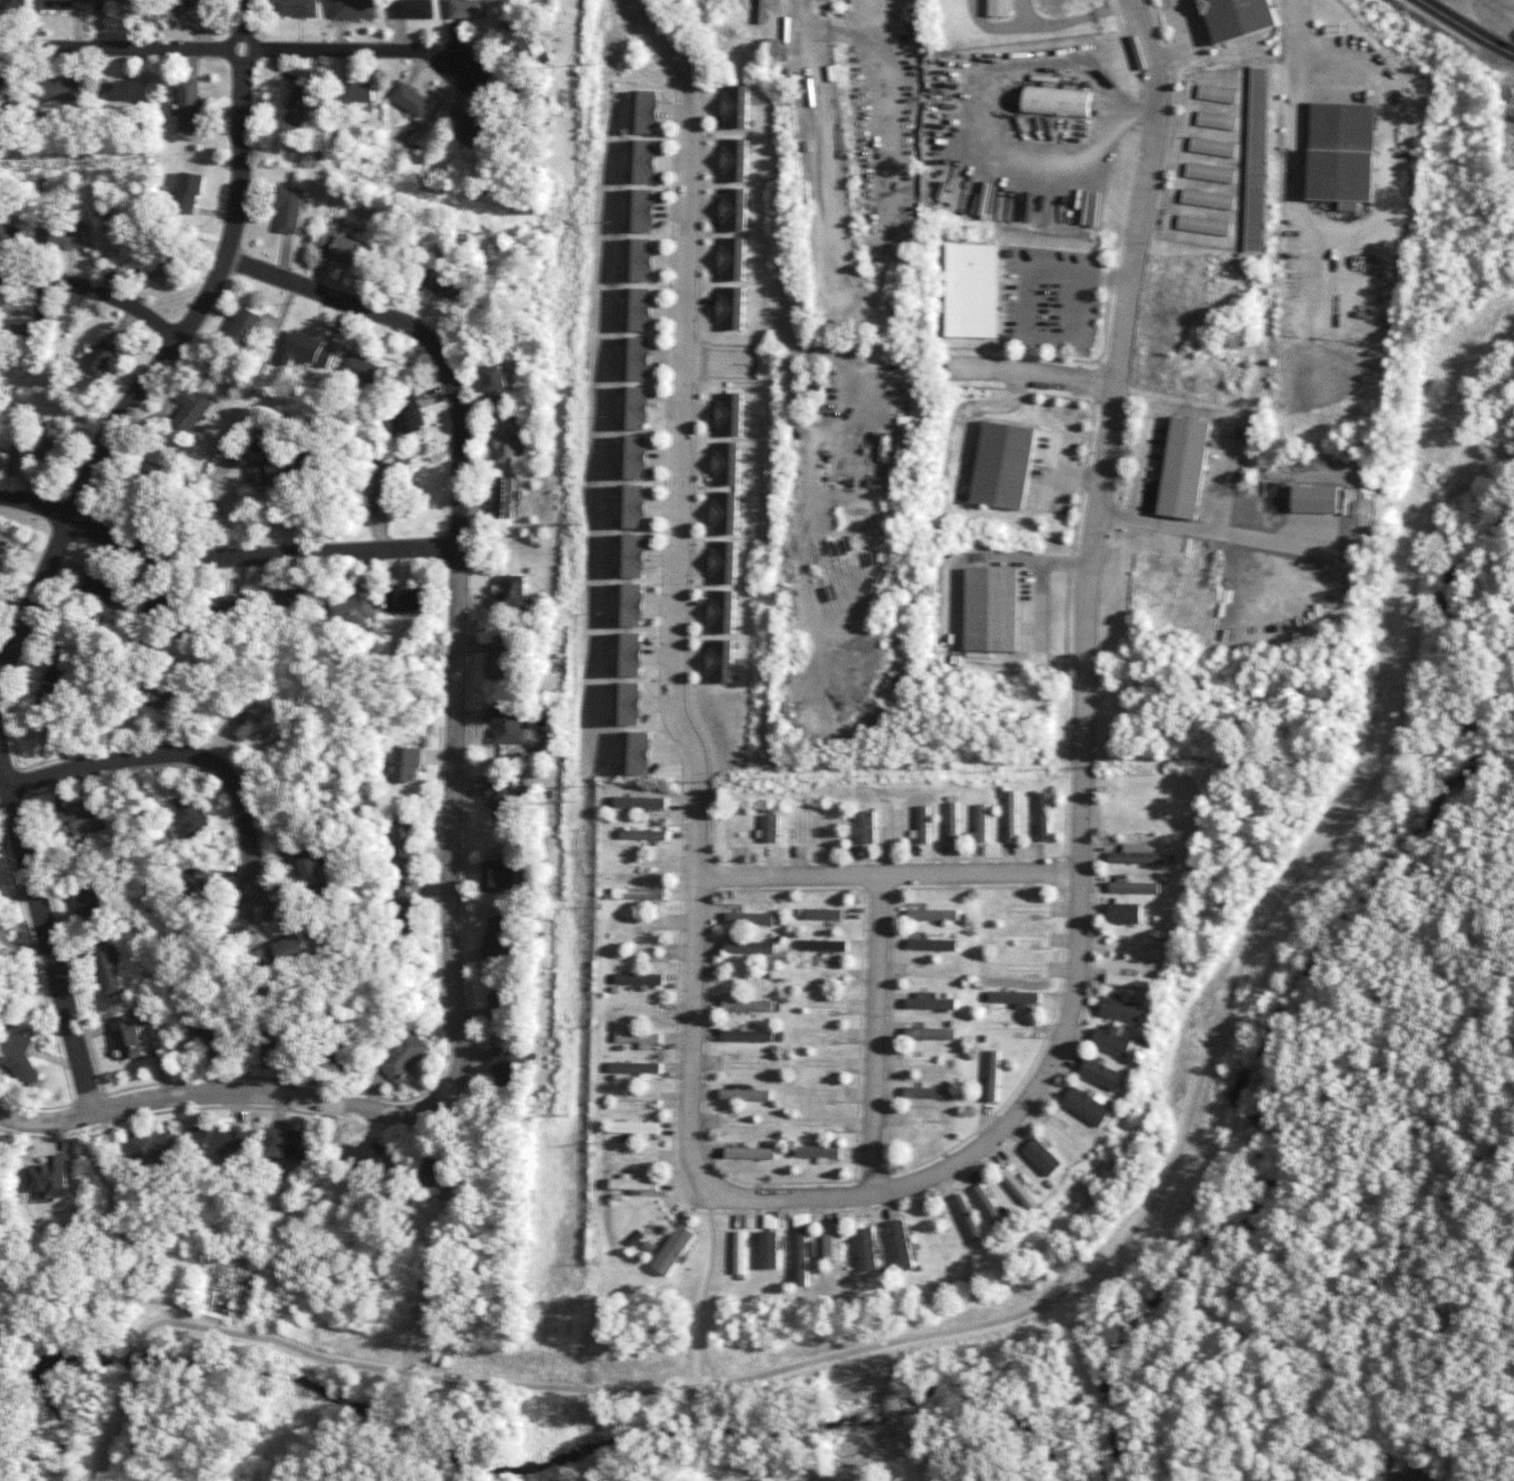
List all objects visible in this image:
building: (114, 0)
building: (11, 4)
building: (63, 4)
building: (182, 6)
building: (298, 8)
building: (996, 8)
building: (355, 9)
building: (415, 9)
building: (469, 9)
road: (1460, 10)
parking lot: (1181, 18)
building: (1243, 19)
road: (1467, 29)
road: (1296, 32)
building: (519, 43)
road: (1196, 43)
road: (231, 47)
building: (9, 89)
building: (62, 90)
building: (131, 90)
building: (358, 92)
building: (1216, 94)
building: (411, 100)
building: (1056, 102)
road: (892, 103)
building: (298, 105)
building: (190, 106)
building: (735, 107)
building: (644, 112)
building: (1215, 120)
building: (475, 130)
building: (1212, 147)
building: (1341, 153)
building: (1255, 159)
building: (734, 160)
building: (642, 161)
building: (1209, 173)
building: (188, 191)
building: (1207, 199)
building: (288, 209)
building: (732, 210)
building: (641, 211)
road: (1373, 222)
building: (1203, 225)
building: (3, 232)
building: (69, 237)
building: (340, 248)
building: (731, 259)
building: (639, 260)
building: (165, 266)
building: (445, 285)
road: (95, 287)
building: (970, 291)
building: (730, 308)
building: (638, 309)
building: (244, 327)
building: (29, 328)
building: (307, 350)
road: (878, 352)
road: (168, 356)
building: (100, 359)
building: (637, 359)
road: (722, 363)
building: (358, 368)
road: (1032, 373)
building: (497, 384)
building: (636, 408)
building: (192, 409)
building: (728, 414)
building: (408, 417)
building: (509, 437)
building: (48, 444)
building: (634, 457)
building: (725, 464)
building: (1002, 465)
building: (1185, 468)
building: (276, 472)
building: (149, 479)
building: (383, 484)
building: (506, 497)
building: (633, 507)
building: (724, 513)
building: (3, 553)
road: (231, 555)
building: (632, 556)
building: (722, 562)
road: (671, 588)
building: (106, 589)
building: (512, 592)
building: (291, 599)
building: (403, 599)
building: (354, 605)
building: (630, 605)
building: (161, 606)
building: (232, 606)
building: (990, 610)
building: (721, 612)
road: (465, 640)
building: (629, 655)
building: (500, 658)
building: (720, 661)
building: (54, 675)
building: (165, 697)
building: (628, 704)
building: (259, 720)
road: (1081, 730)
building: (637, 753)
road: (198, 759)
building: (406, 764)
building: (502, 797)
building: (639, 802)
building: (1009, 814)
building: (192, 816)
building: (84, 817)
building: (1042, 817)
building: (950, 822)
building: (979, 823)
building: (921, 824)
building: (861, 827)
building: (767, 828)
building: (642, 835)
building: (402, 839)
building: (1137, 855)
building: (308, 866)
building: (496, 877)
road: (956, 878)
building: (199, 881)
building: (398, 887)
building: (1133, 887)
building: (636, 893)
building: (403, 909)
building: (1124, 912)
road: (41, 913)
building: (822, 914)
building: (932, 915)
building: (748, 918)
building: (496, 940)
building: (822, 945)
building: (932, 945)
building: (748, 948)
building: (287, 950)
building: (107, 970)
building: (637, 979)
building: (1130, 981)
building: (1013, 997)
building: (499, 1005)
building: (746, 1006)
building: (1121, 1009)
building: (930, 1033)
road: (884, 1034)
building: (746, 1036)
building: (127, 1039)
building: (638, 1039)
building: (205, 1041)
building: (1112, 1041)
building: (275, 1042)
building: (17, 1057)
building: (404, 1057)
building: (509, 1067)
building: (634, 1067)
building: (1101, 1074)
building: (991, 1076)
building: (928, 1093)
building: (743, 1094)
road: (196, 1100)
building: (1087, 1105)
building: (926, 1121)
building: (635, 1128)
building: (220, 1140)
building: (290, 1144)
building: (153, 1147)
building: (817, 1152)
building: (750, 1153)
building: (367, 1154)
building: (1043, 1157)
building: (436, 1173)
building: (46, 1178)
building: (633, 1184)
building: (1018, 1188)
building: (990, 1208)
building: (968, 1218)
building: (801, 1220)
building: (771, 1221)
road: (129, 1241)
building: (833, 1244)
building: (900, 1246)
building: (673, 1250)
building: (769, 1250)
building: (866, 1250)
building: (741, 1255)
building: (803, 1256)
road: (1075, 1283)
road: (706, 1288)
road: (134, 1361)
road: (116, 1427)
road: (892, 1430)
road: (839, 1476)

